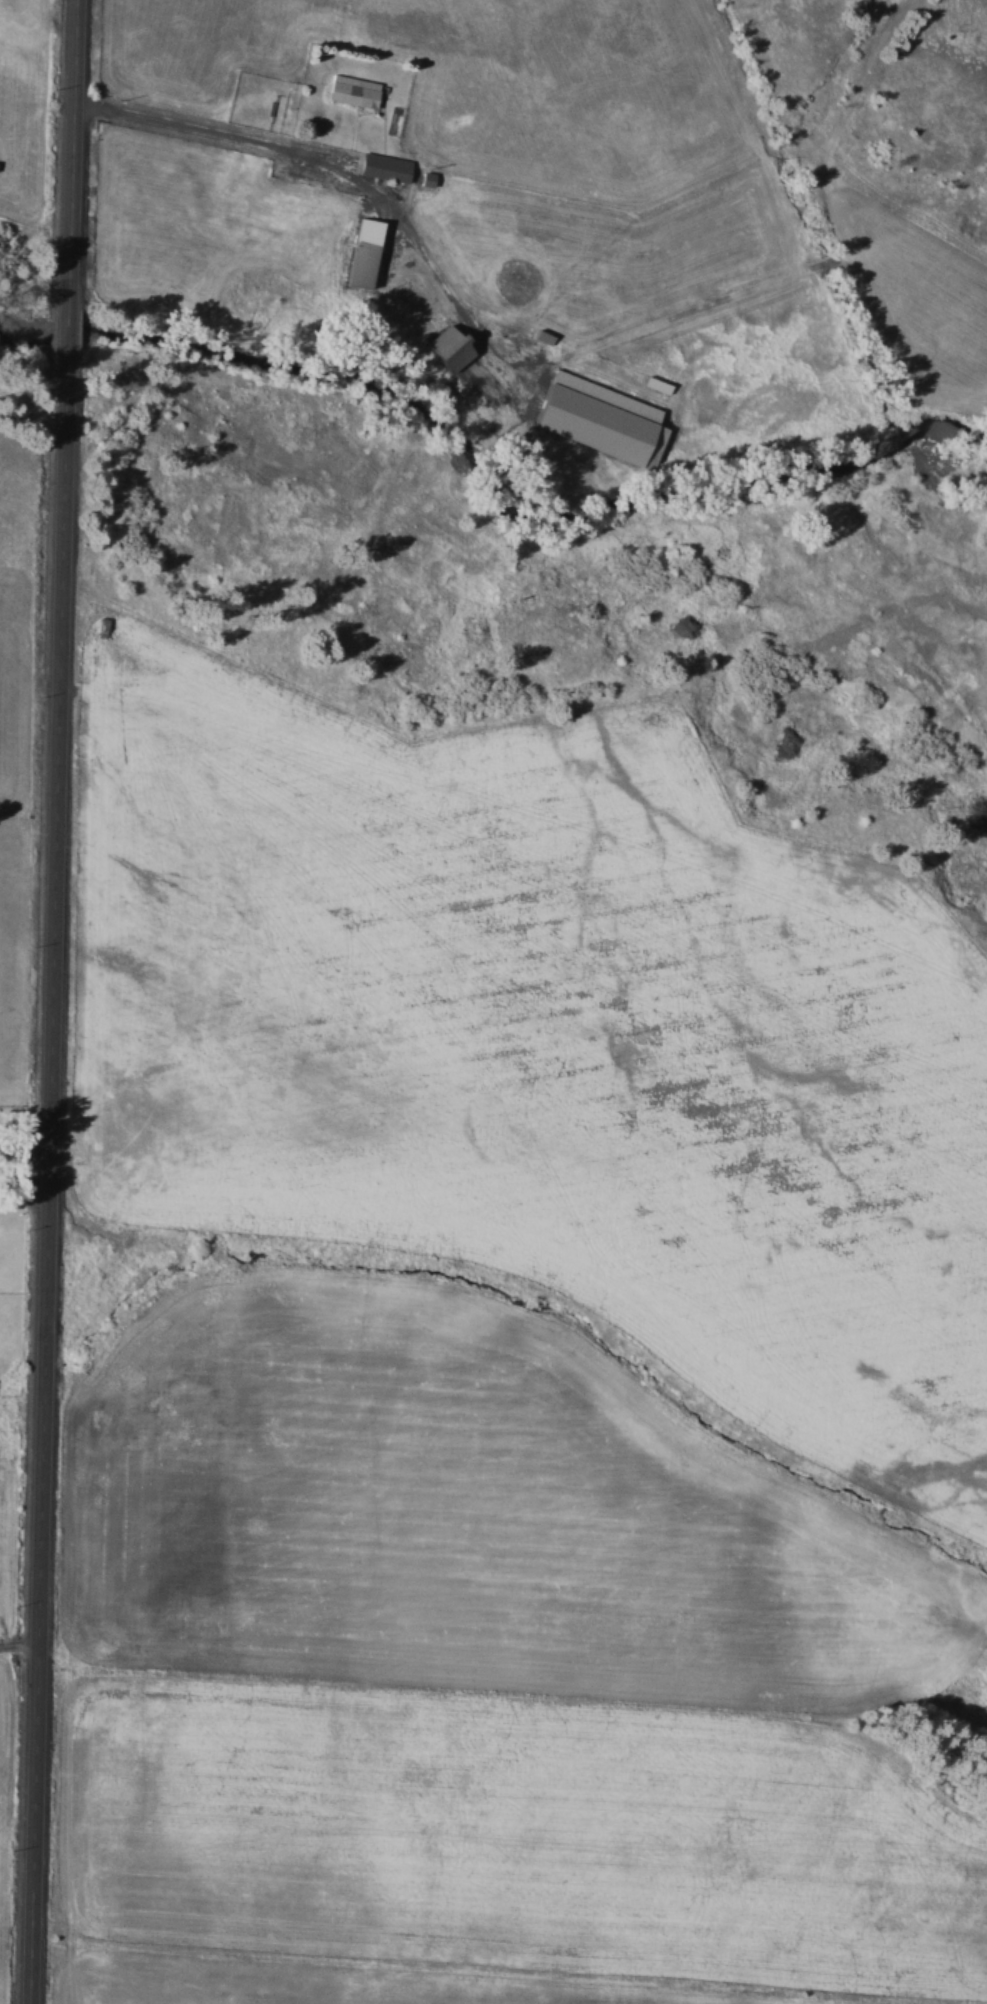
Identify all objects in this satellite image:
building: (353, 90)
road: (209, 130)
building: (384, 166)
building: (363, 252)
building: (448, 349)
building: (601, 419)
road: (31, 423)
road: (50, 1001)
road: (21, 1644)

